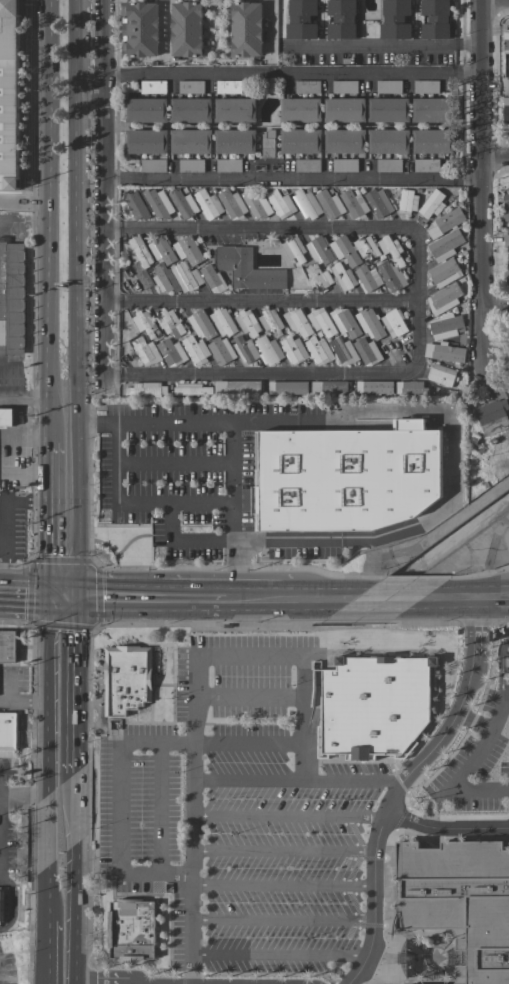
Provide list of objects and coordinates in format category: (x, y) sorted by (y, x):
road: (493, 0)
building: (301, 19)
building: (342, 19)
building: (395, 19)
building: (435, 19)
building: (139, 29)
building: (187, 29)
building: (245, 29)
road: (266, 29)
road: (380, 45)
building: (506, 45)
building: (505, 64)
road: (286, 73)
building: (153, 87)
building: (190, 87)
building: (228, 87)
building: (307, 87)
building: (344, 87)
building: (388, 87)
building: (426, 87)
road: (87, 90)
building: (9, 94)
building: (146, 110)
building: (190, 110)
building: (235, 110)
building: (300, 110)
building: (344, 110)
building: (389, 110)
building: (434, 110)
building: (506, 110)
road: (97, 115)
building: (146, 141)
building: (190, 141)
building: (235, 141)
building: (300, 141)
building: (344, 141)
building: (388, 141)
building: (433, 141)
building: (268, 144)
road: (492, 160)
building: (228, 165)
building: (307, 165)
building: (344, 165)
building: (388, 165)
building: (426, 165)
building: (153, 166)
building: (191, 166)
road: (476, 178)
road: (287, 180)
road: (22, 201)
building: (407, 202)
building: (280, 203)
building: (378, 203)
building: (158, 204)
building: (183, 204)
building: (208, 204)
building: (232, 204)
building: (255, 204)
building: (306, 204)
building: (329, 204)
building: (354, 204)
building: (432, 204)
building: (506, 205)
building: (132, 206)
road: (45, 222)
road: (22, 223)
building: (445, 223)
building: (506, 241)
building: (445, 246)
building: (366, 248)
building: (293, 249)
building: (391, 249)
building: (161, 250)
building: (187, 250)
building: (319, 251)
building: (345, 251)
building: (137, 252)
building: (248, 269)
building: (444, 273)
building: (390, 275)
building: (506, 275)
building: (342, 276)
building: (185, 277)
building: (318, 278)
building: (212, 279)
building: (368, 279)
building: (161, 280)
building: (12, 298)
building: (444, 299)
road: (258, 301)
road: (77, 303)
road: (491, 306)
building: (222, 322)
building: (271, 322)
building: (321, 322)
building: (345, 322)
building: (170, 323)
building: (247, 323)
building: (297, 323)
building: (394, 323)
building: (145, 324)
building: (370, 324)
building: (201, 325)
building: (446, 326)
building: (269, 349)
building: (195, 350)
building: (293, 350)
building: (319, 350)
building: (146, 351)
building: (221, 351)
building: (343, 351)
building: (367, 352)
building: (445, 352)
building: (171, 353)
road: (415, 370)
building: (441, 375)
building: (237, 387)
building: (375, 387)
building: (287, 388)
building: (328, 388)
building: (410, 388)
building: (147, 389)
building: (192, 389)
building: (508, 394)
road: (23, 400)
building: (491, 411)
building: (6, 418)
road: (234, 440)
road: (446, 455)
road: (175, 461)
building: (346, 477)
road: (138, 500)
road: (46, 525)
road: (184, 540)
road: (485, 561)
road: (23, 605)
road: (151, 606)
road: (254, 606)
road: (397, 606)
traffic signals: (46, 607)
road: (62, 607)
traffic signals: (79, 607)
building: (8, 647)
road: (200, 653)
building: (126, 679)
road: (10, 688)
road: (78, 689)
road: (22, 703)
building: (375, 705)
road: (498, 713)
road: (472, 721)
building: (8, 734)
road: (45, 765)
road: (247, 780)
road: (456, 780)
road: (397, 790)
road: (22, 800)
road: (117, 806)
road: (287, 815)
road: (444, 827)
road: (282, 849)
road: (74, 878)
road: (281, 885)
building: (460, 901)
building: (1, 906)
road: (281, 919)
building: (132, 930)
road: (45, 954)
road: (277, 954)

